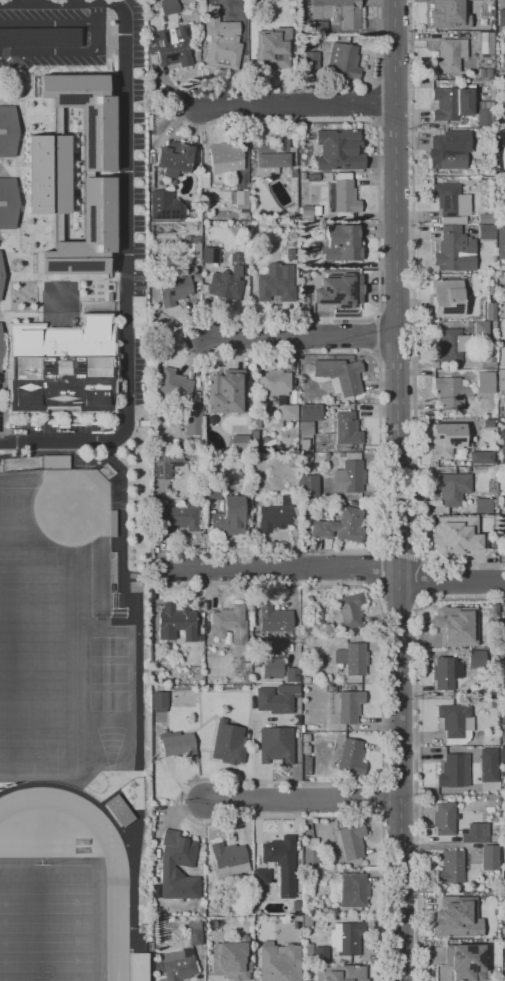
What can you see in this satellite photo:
building: (484, 1)
building: (167, 6)
building: (337, 11)
building: (447, 11)
road: (96, 13)
building: (500, 17)
building: (170, 21)
building: (252, 21)
road: (48, 24)
building: (316, 27)
building: (474, 27)
building: (488, 27)
building: (39, 37)
building: (221, 41)
building: (485, 43)
building: (171, 46)
building: (277, 47)
road: (61, 52)
building: (450, 55)
building: (310, 60)
building: (344, 60)
building: (485, 71)
building: (0, 81)
building: (447, 104)
road: (296, 106)
building: (485, 112)
building: (85, 114)
building: (8, 130)
building: (448, 148)
building: (339, 149)
building: (172, 158)
building: (225, 158)
building: (277, 160)
building: (501, 166)
building: (46, 174)
building: (313, 176)
building: (204, 182)
building: (345, 195)
building: (329, 197)
building: (240, 199)
building: (8, 202)
building: (451, 202)
building: (165, 206)
building: (308, 210)
building: (486, 216)
road: (124, 221)
building: (159, 228)
building: (485, 232)
building: (86, 233)
parking lot: (132, 235)
building: (501, 242)
building: (342, 243)
building: (314, 246)
building: (190, 247)
building: (454, 250)
building: (289, 254)
building: (211, 255)
building: (356, 271)
building: (227, 279)
building: (275, 283)
building: (197, 284)
building: (0, 285)
building: (173, 290)
building: (491, 290)
building: (338, 291)
building: (446, 298)
building: (489, 311)
building: (500, 312)
building: (480, 328)
road: (299, 338)
building: (451, 345)
building: (1, 346)
building: (61, 366)
building: (338, 375)
building: (501, 378)
building: (485, 382)
building: (174, 384)
building: (279, 390)
building: (227, 391)
building: (450, 393)
building: (263, 409)
building: (499, 410)
building: (310, 412)
building: (193, 421)
building: (284, 424)
building: (305, 427)
building: (346, 428)
building: (254, 436)
building: (446, 439)
building: (502, 439)
building: (239, 441)
building: (157, 443)
building: (481, 457)
building: (55, 461)
building: (164, 466)
building: (334, 480)
building: (289, 486)
building: (451, 487)
road: (395, 490)
building: (211, 492)
building: (325, 493)
building: (483, 502)
building: (271, 504)
building: (229, 517)
building: (174, 518)
building: (113, 523)
building: (340, 525)
building: (459, 537)
park: (47, 546)
road: (333, 572)
building: (135, 576)
building: (136, 587)
building: (349, 610)
road: (293, 612)
building: (274, 619)
building: (176, 622)
building: (229, 624)
building: (455, 626)
road: (138, 640)
park: (109, 646)
building: (353, 658)
building: (475, 658)
park: (38, 661)
building: (272, 668)
building: (445, 672)
park: (109, 673)
building: (291, 675)
building: (263, 700)
park: (109, 701)
building: (158, 701)
building: (345, 705)
building: (503, 720)
building: (454, 723)
building: (503, 734)
park: (111, 742)
building: (227, 743)
building: (275, 745)
building: (178, 746)
road: (416, 748)
building: (484, 753)
building: (350, 756)
building: (502, 761)
building: (451, 771)
road: (78, 791)
road: (302, 803)
building: (118, 810)
building: (444, 818)
building: (474, 834)
track: (34, 841)
building: (348, 842)
track: (36, 849)
building: (310, 852)
building: (489, 857)
building: (228, 859)
building: (281, 863)
building: (185, 865)
building: (451, 867)
building: (261, 875)
building: (503, 878)
building: (353, 889)
building: (296, 905)
building: (322, 910)
building: (160, 911)
building: (240, 911)
building: (248, 911)
building: (310, 911)
building: (257, 912)
building: (450, 916)
building: (307, 921)
park: (46, 923)
park: (51, 924)
building: (193, 924)
building: (488, 925)
road: (116, 928)
track: (116, 928)
building: (210, 934)
building: (195, 937)
building: (346, 938)
building: (504, 942)
building: (308, 951)
building: (321, 954)
building: (231, 959)
building: (465, 961)
building: (278, 962)
building: (176, 965)
building: (137, 967)
building: (340, 973)

